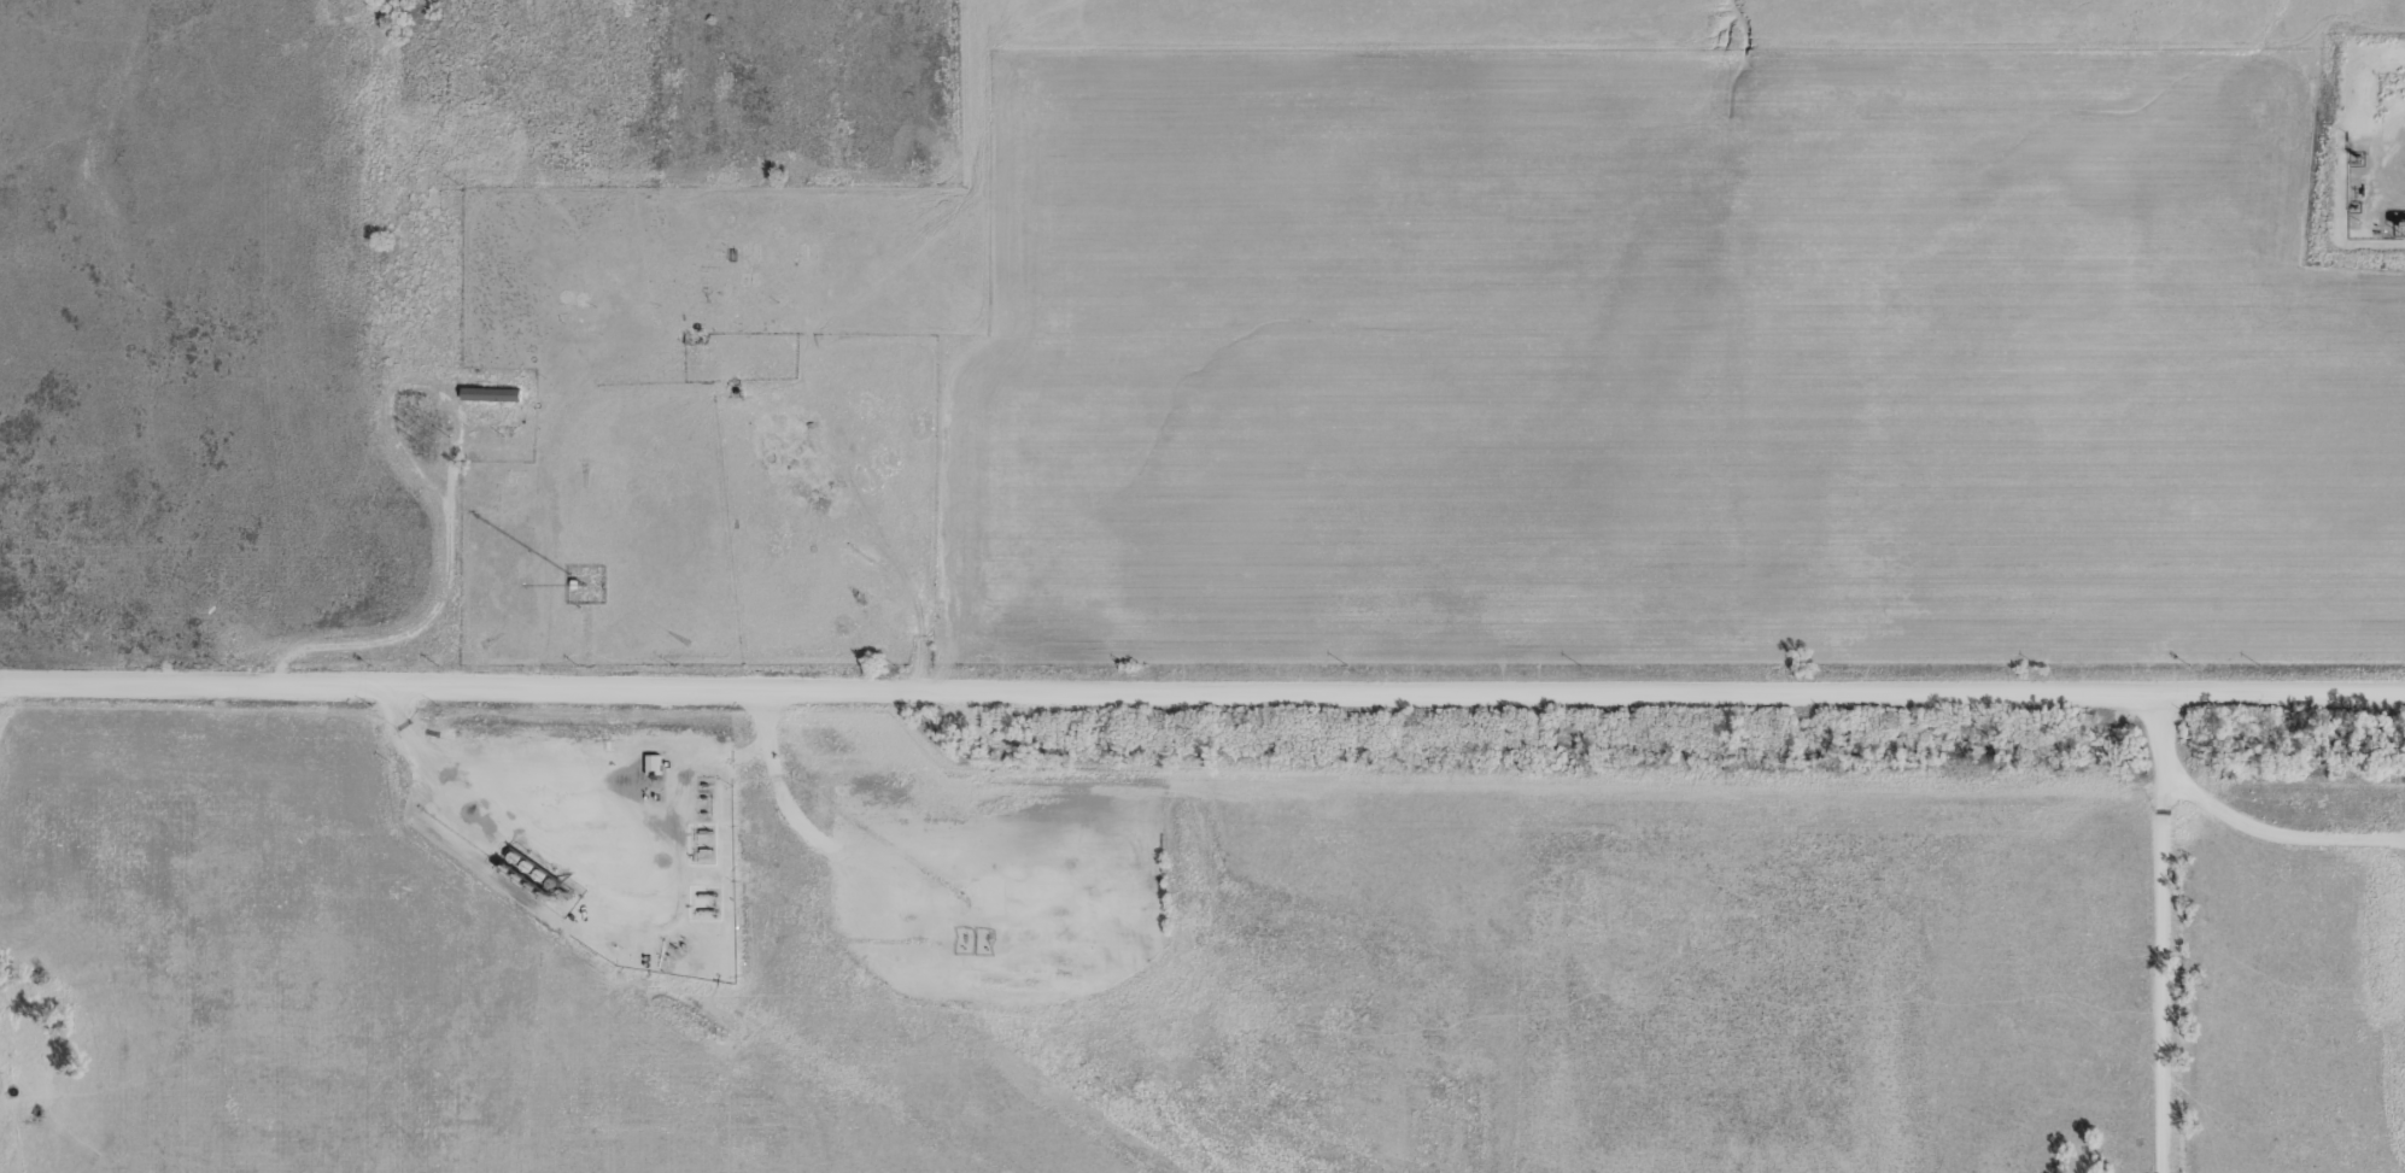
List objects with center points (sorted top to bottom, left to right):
building: (2360, 52)
road: (1202, 685)

